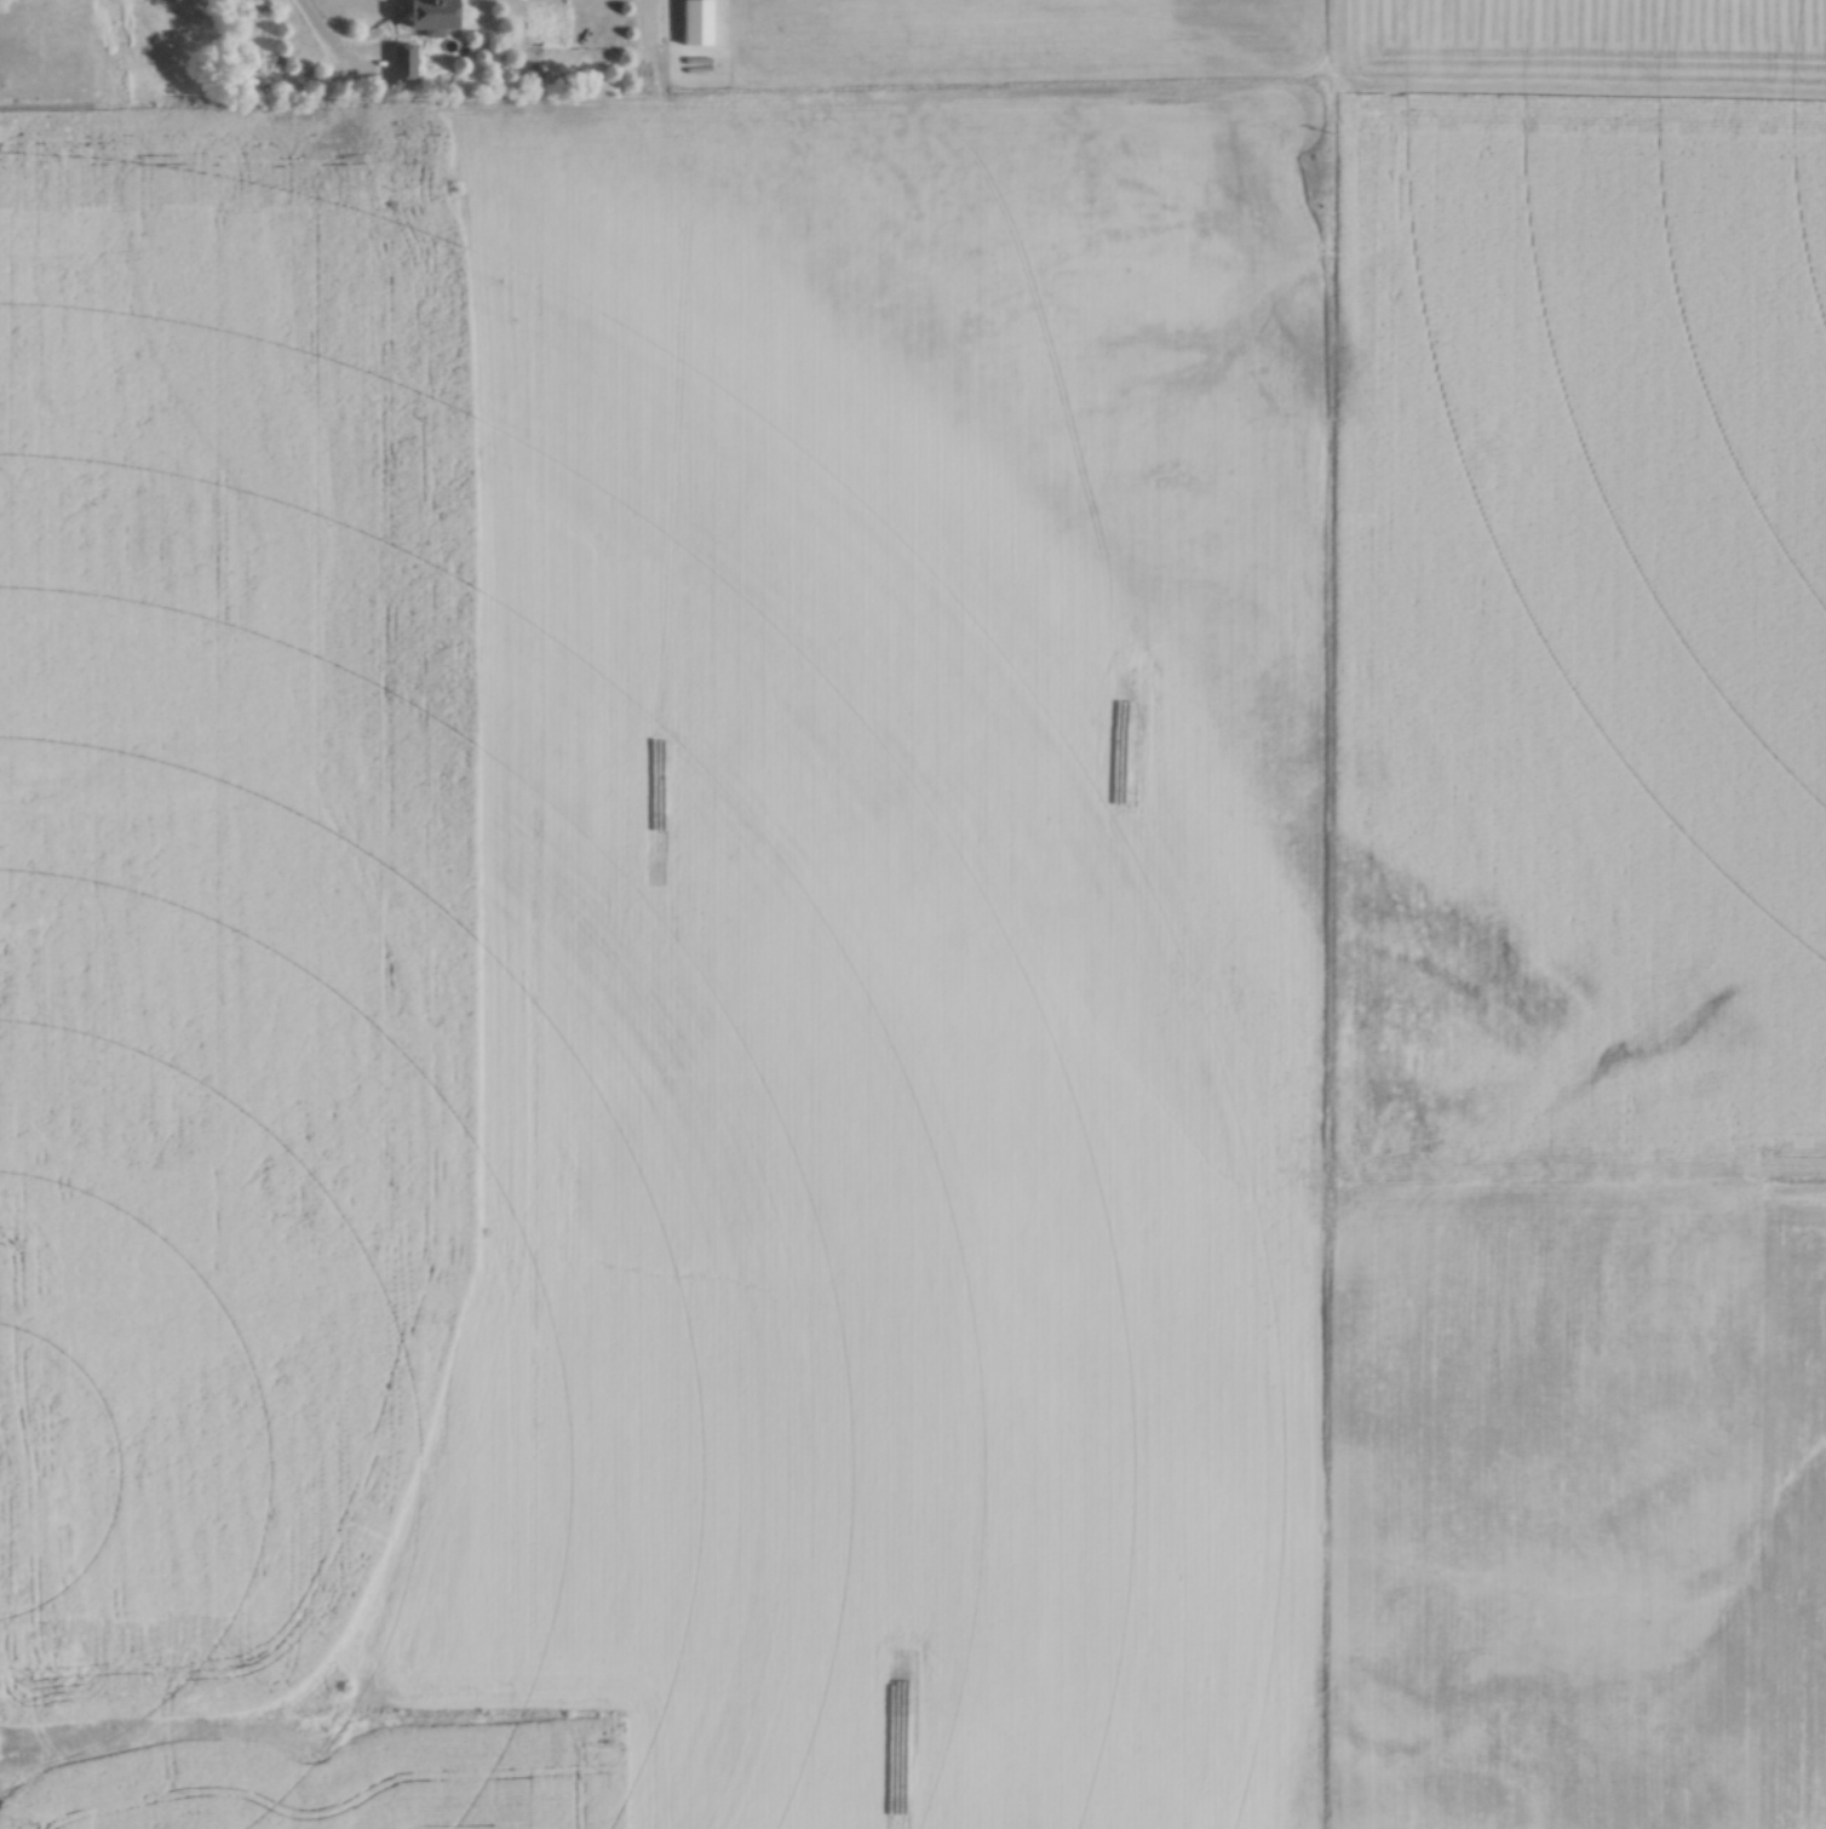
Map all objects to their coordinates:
building: (430, 15)
road: (331, 45)
building: (402, 62)

